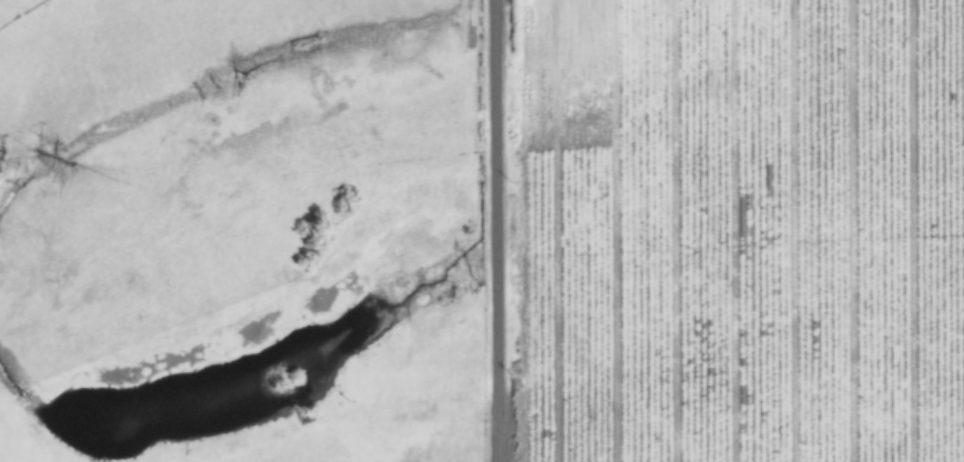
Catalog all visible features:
road: (493, 230)
crop: (482, 231)
building: (543, 440)

